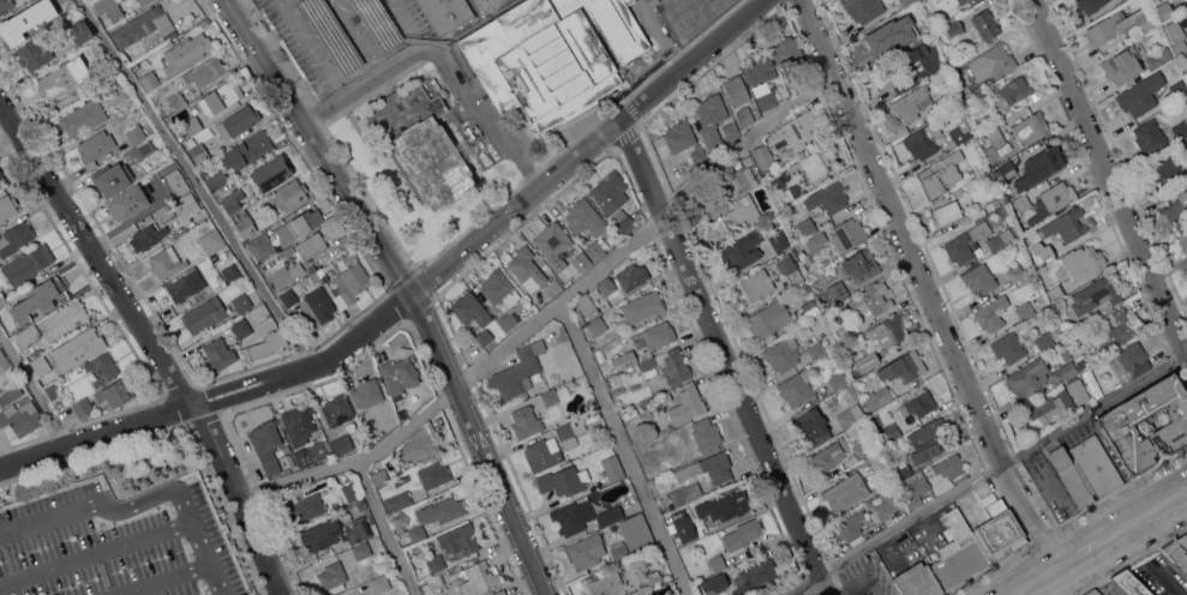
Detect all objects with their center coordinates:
building: (144, 1)
building: (963, 1)
building: (973, 1)
building: (484, 2)
building: (659, 2)
building: (906, 2)
building: (1090, 4)
building: (5, 5)
building: (67, 7)
building: (109, 8)
building: (863, 8)
building: (1164, 10)
building: (444, 14)
building: (378, 23)
road: (408, 24)
building: (984, 24)
building: (1119, 24)
building: (143, 26)
building: (14, 28)
building: (917, 29)
building: (954, 29)
building: (80, 32)
building: (332, 35)
building: (883, 36)
building: (1177, 36)
road: (314, 49)
building: (37, 50)
building: (94, 50)
building: (188, 52)
building: (553, 55)
building: (789, 56)
building: (1158, 58)
road: (440, 60)
building: (989, 64)
building: (1123, 64)
building: (205, 72)
building: (1185, 76)
building: (918, 77)
building: (150, 80)
building: (761, 80)
building: (58, 82)
building: (436, 83)
building: (737, 90)
building: (966, 91)
building: (115, 92)
building: (444, 92)
building: (1012, 92)
building: (1171, 92)
building: (981, 96)
building: (221, 97)
road: (71, 98)
building: (1135, 100)
building: (178, 101)
building: (922, 103)
building: (745, 115)
building: (84, 118)
building: (711, 118)
building: (239, 122)
building: (193, 125)
building: (801, 127)
building: (1030, 127)
building: (1180, 128)
building: (732, 130)
building: (961, 133)
building: (994, 133)
road: (8, 134)
building: (136, 134)
building: (679, 136)
building: (925, 137)
building: (1149, 137)
building: (421, 144)
building: (96, 146)
building: (247, 150)
building: (139, 151)
building: (199, 152)
building: (993, 152)
building: (762, 156)
building: (699, 157)
building: (811, 164)
building: (1159, 166)
building: (1038, 167)
building: (941, 168)
building: (1005, 172)
building: (271, 173)
building: (967, 173)
road: (1109, 176)
building: (1, 179)
building: (110, 179)
building: (742, 179)
building: (216, 180)
building: (178, 181)
road: (197, 182)
building: (610, 192)
building: (292, 194)
building: (785, 197)
building: (828, 197)
building: (233, 199)
building: (712, 202)
building: (1023, 202)
building: (1050, 202)
building: (128, 203)
building: (993, 204)
building: (187, 205)
building: (7, 206)
building: (1177, 208)
building: (164, 211)
building: (745, 211)
building: (978, 212)
building: (947, 214)
building: (584, 218)
building: (245, 223)
building: (624, 223)
building: (1067, 224)
building: (299, 226)
building: (811, 234)
building: (849, 234)
building: (148, 236)
building: (16, 238)
building: (552, 239)
building: (779, 240)
building: (1183, 240)
building: (999, 241)
building: (313, 245)
building: (215, 246)
building: (260, 246)
building: (572, 246)
building: (594, 250)
road: (96, 251)
building: (288, 251)
building: (742, 251)
building: (1047, 254)
building: (581, 262)
building: (1084, 262)
building: (167, 263)
building: (28, 264)
building: (861, 264)
building: (1186, 266)
building: (527, 268)
building: (790, 269)
building: (230, 271)
building: (1015, 272)
building: (287, 275)
building: (631, 276)
building: (979, 278)
building: (343, 282)
building: (186, 284)
road: (924, 284)
building: (606, 286)
road: (407, 287)
building: (499, 287)
building: (554, 287)
building: (754, 287)
road: (413, 290)
building: (1056, 292)
building: (42, 294)
building: (835, 294)
building: (1096, 294)
building: (288, 297)
building: (523, 300)
building: (871, 300)
building: (242, 302)
building: (318, 306)
building: (643, 306)
building: (586, 307)
building: (810, 308)
building: (470, 309)
road: (551, 309)
building: (1024, 309)
building: (262, 313)
building: (993, 313)
building: (204, 314)
building: (251, 319)
building: (768, 319)
building: (64, 320)
building: (510, 321)
building: (8, 323)
building: (817, 325)
building: (597, 326)
building: (242, 327)
building: (841, 330)
building: (889, 331)
building: (1115, 332)
building: (29, 335)
building: (659, 335)
building: (485, 337)
building: (1044, 341)
building: (266, 344)
building: (1008, 347)
building: (76, 348)
building: (817, 350)
building: (783, 353)
building: (220, 354)
building: (1066, 354)
road: (726, 356)
building: (628, 359)
building: (1133, 359)
building: (4, 361)
building: (867, 361)
building: (38, 363)
building: (648, 363)
building: (102, 367)
building: (676, 367)
building: (904, 367)
building: (1117, 369)
building: (517, 372)
building: (1063, 373)
building: (400, 374)
building: (621, 378)
building: (838, 380)
building: (1029, 380)
building: (797, 387)
road: (32, 391)
building: (54, 391)
building: (115, 392)
building: (367, 392)
building: (11, 395)
building: (553, 395)
building: (664, 397)
building: (877, 397)
building: (1059, 402)
building: (922, 403)
building: (688, 404)
building: (83, 408)
building: (337, 409)
building: (630, 413)
building: (850, 415)
building: (20, 417)
building: (527, 421)
building: (299, 423)
building: (813, 426)
building: (1115, 427)
building: (570, 431)
building: (706, 434)
building: (888, 434)
building: (373, 439)
building: (930, 440)
building: (341, 444)
building: (268, 445)
building: (418, 445)
road: (627, 447)
building: (861, 450)
building: (311, 453)
building: (542, 453)
building: (827, 457)
building: (879, 458)
building: (949, 465)
building: (1096, 465)
building: (612, 468)
building: (708, 468)
building: (903, 471)
road: (983, 471)
building: (1068, 471)
building: (433, 475)
building: (379, 476)
building: (401, 479)
building: (960, 479)
building: (564, 480)
building: (350, 489)
building: (845, 492)
building: (685, 493)
building: (900, 494)
road: (1043, 494)
road: (240, 495)
building: (397, 500)
road: (143, 501)
building: (362, 505)
building: (727, 505)
road: (1161, 505)
building: (307, 507)
building: (444, 510)
building: (583, 516)
building: (681, 524)
building: (851, 524)
road: (384, 527)
building: (701, 528)
building: (358, 529)
building: (999, 529)
building: (636, 531)
building: (418, 533)
building: (322, 534)
building: (742, 534)
building: (460, 539)
building: (1182, 540)
road: (1099, 541)
parking lot: (115, 543)
building: (618, 547)
building: (361, 549)
road: (95, 551)
building: (586, 551)
building: (958, 553)
building: (1175, 553)
building: (718, 561)
building: (436, 563)
building: (755, 575)
building: (332, 577)
building: (475, 577)
building: (654, 578)
road: (1037, 578)
road: (162, 579)
building: (719, 581)
building: (917, 581)
building: (380, 582)
building: (434, 583)
building: (1129, 583)
building: (604, 584)
road: (1043, 588)
building: (1092, 591)
building: (499, 593)
building: (367, 594)
building: (868, 594)
building: (870, 594)

